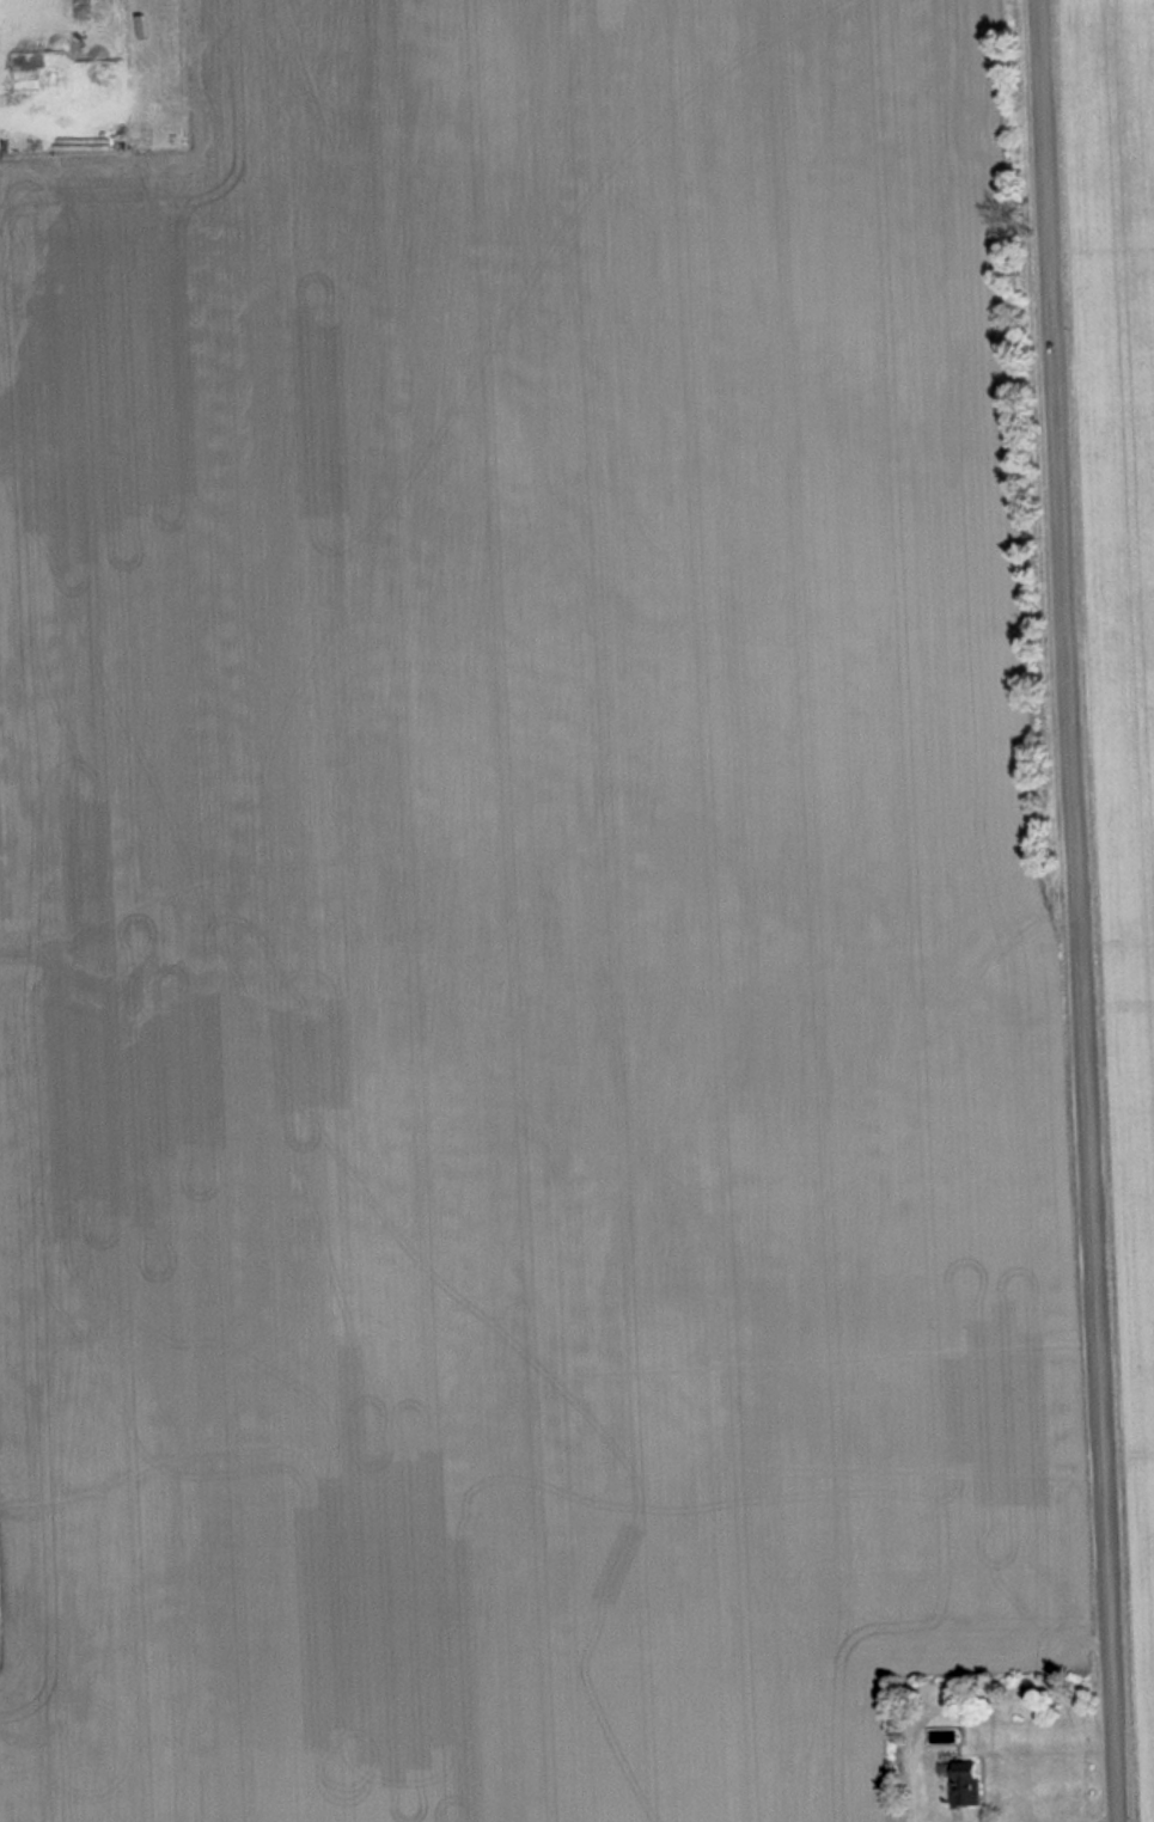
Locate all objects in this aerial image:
road: (1069, 911)
building: (964, 1781)

